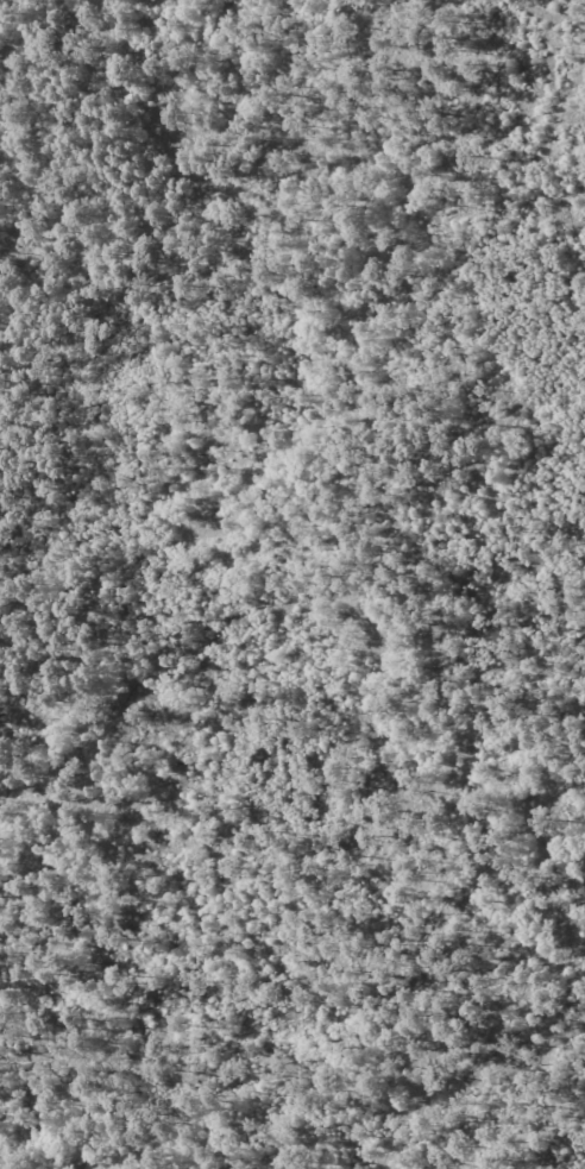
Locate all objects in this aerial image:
park: (292, 584)

